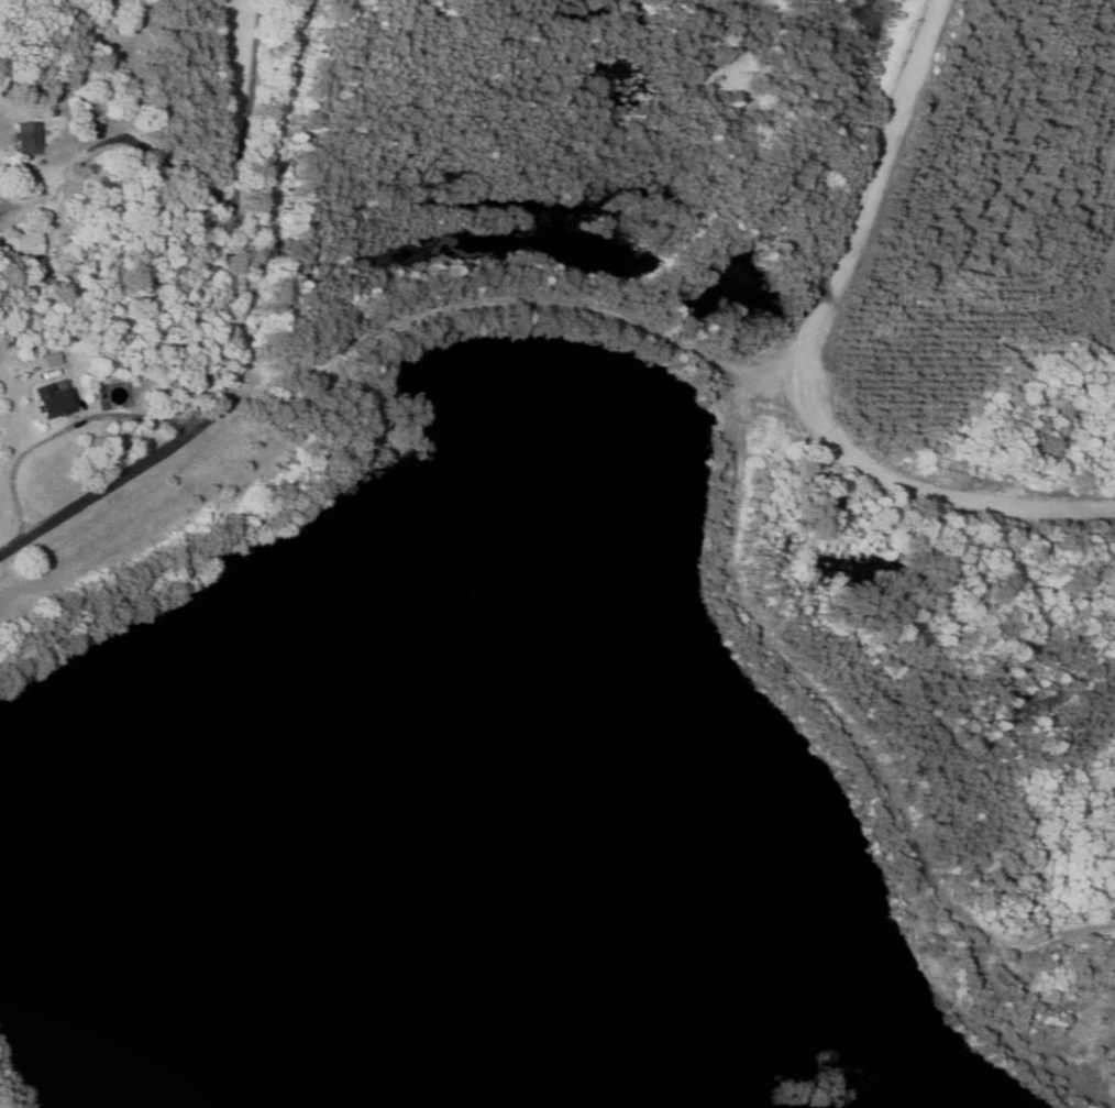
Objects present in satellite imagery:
building: (27, 138)
building: (25, 243)
road: (212, 327)
road: (655, 334)
building: (55, 402)

